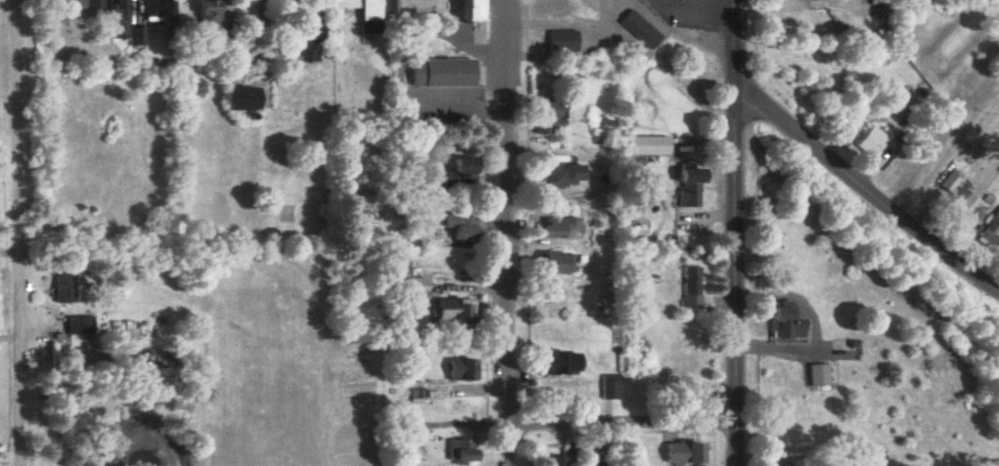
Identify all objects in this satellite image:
building: (88, 3)
building: (389, 7)
building: (158, 10)
building: (233, 10)
building: (470, 10)
road: (703, 11)
building: (365, 14)
building: (207, 16)
building: (123, 24)
building: (641, 29)
building: (307, 40)
building: (561, 41)
road: (734, 41)
building: (937, 64)
building: (444, 73)
building: (239, 98)
building: (546, 110)
building: (546, 124)
building: (872, 143)
building: (649, 145)
building: (458, 174)
building: (559, 175)
building: (953, 180)
building: (689, 186)
road: (865, 187)
building: (460, 225)
building: (559, 227)
building: (990, 229)
road: (727, 230)
road: (22, 233)
road: (509, 233)
building: (998, 253)
building: (554, 262)
road: (737, 274)
building: (68, 284)
building: (411, 287)
building: (693, 287)
building: (358, 308)
building: (455, 314)
building: (786, 323)
building: (82, 324)
building: (848, 347)
building: (557, 362)
building: (462, 368)
building: (676, 381)
building: (608, 387)
road: (623, 421)
building: (460, 450)
building: (681, 452)
building: (555, 460)

